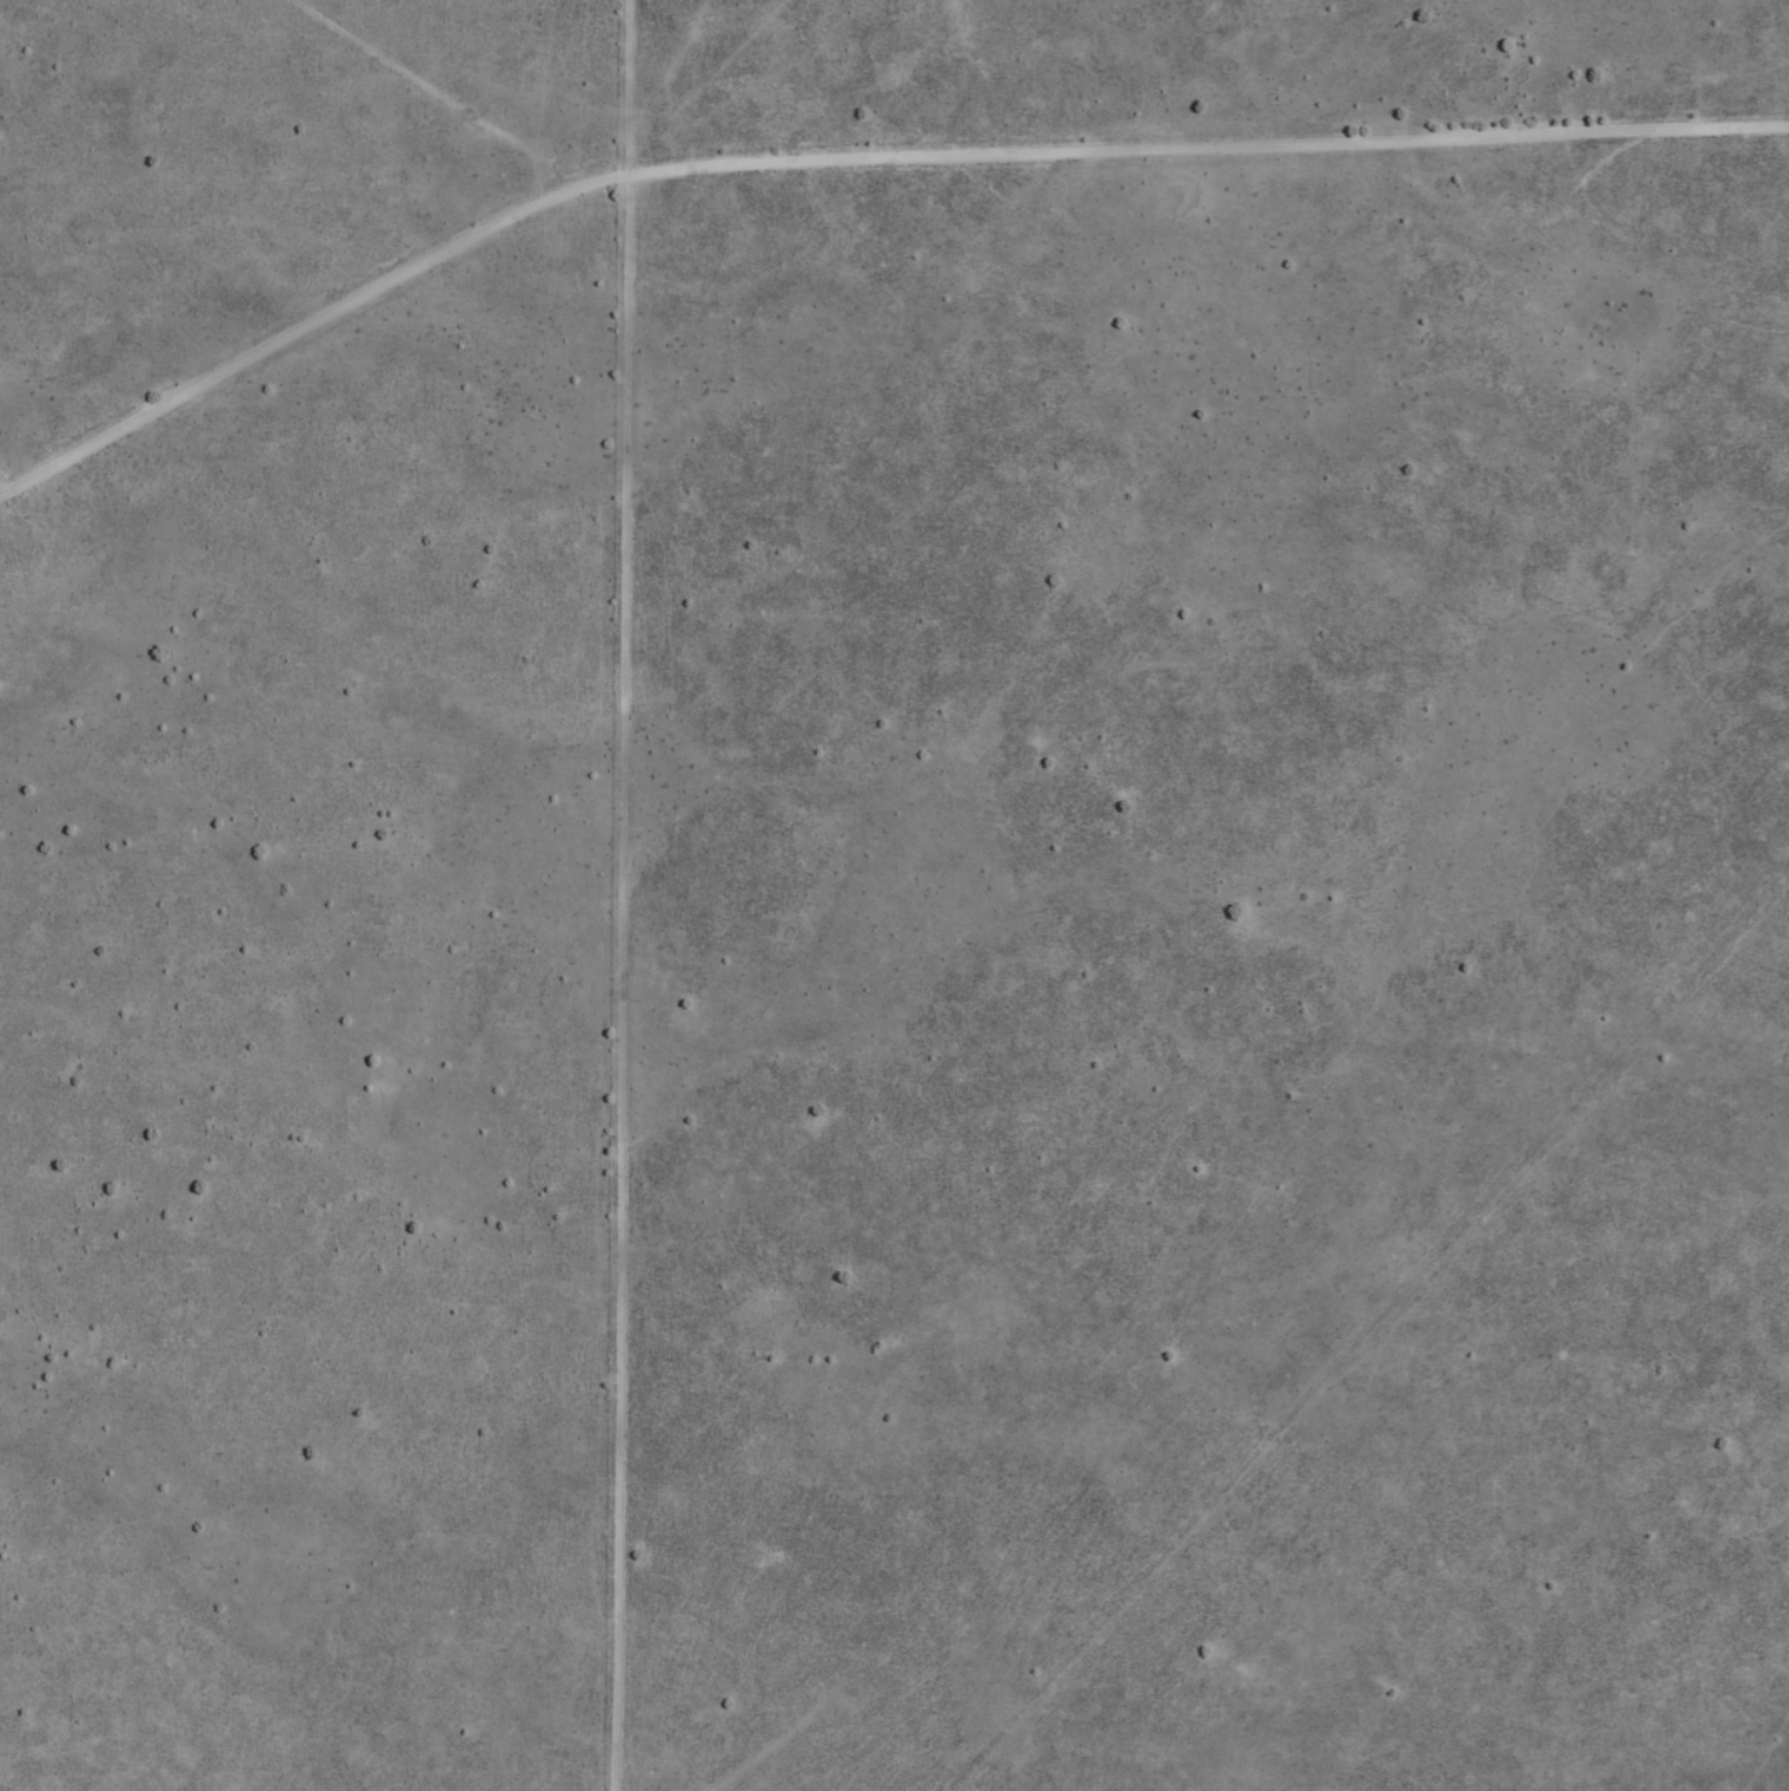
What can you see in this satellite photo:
road: (486, 71)
road: (847, 138)

